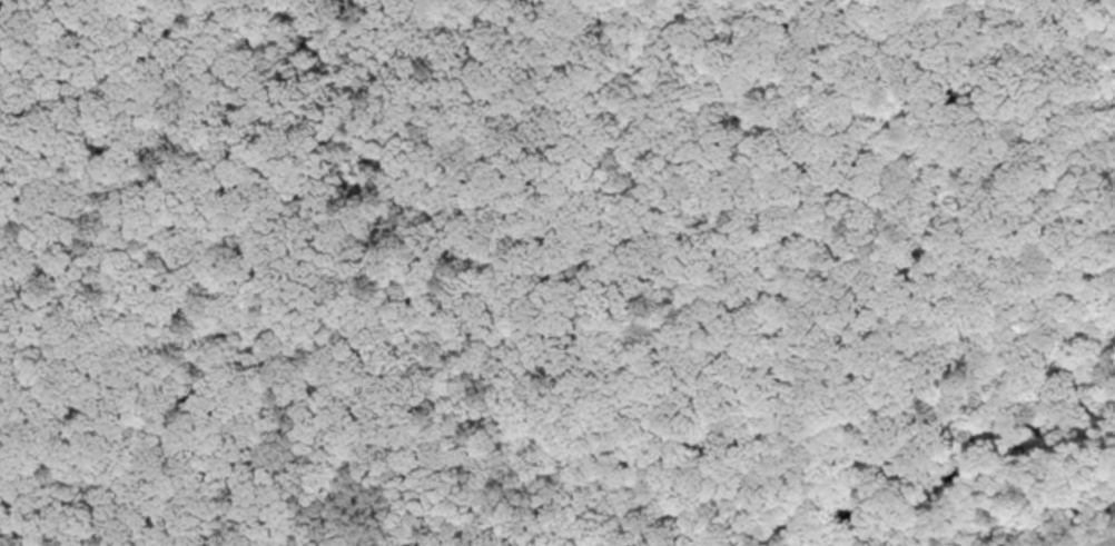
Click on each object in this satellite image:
park: (547, 221)

